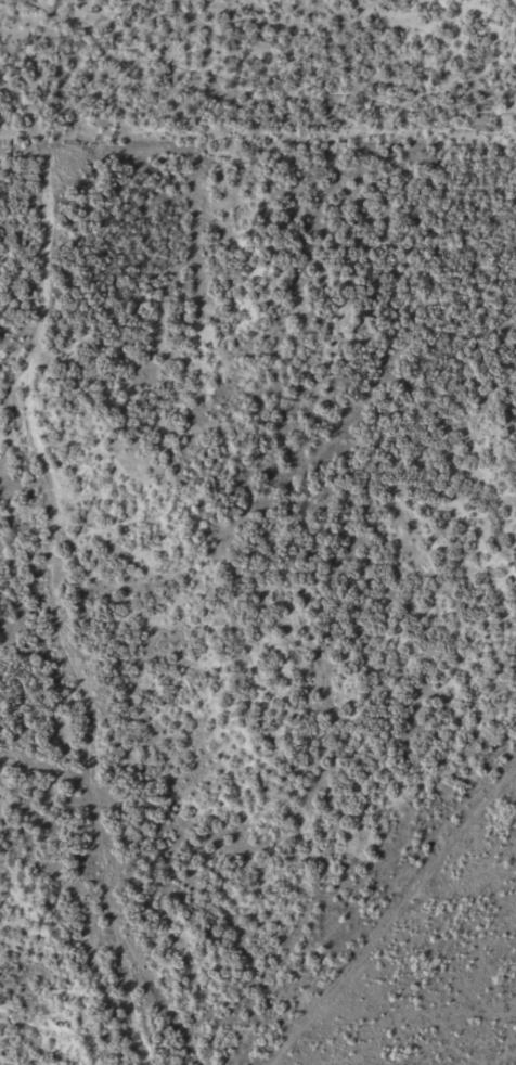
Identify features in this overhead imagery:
road: (48, 742)

